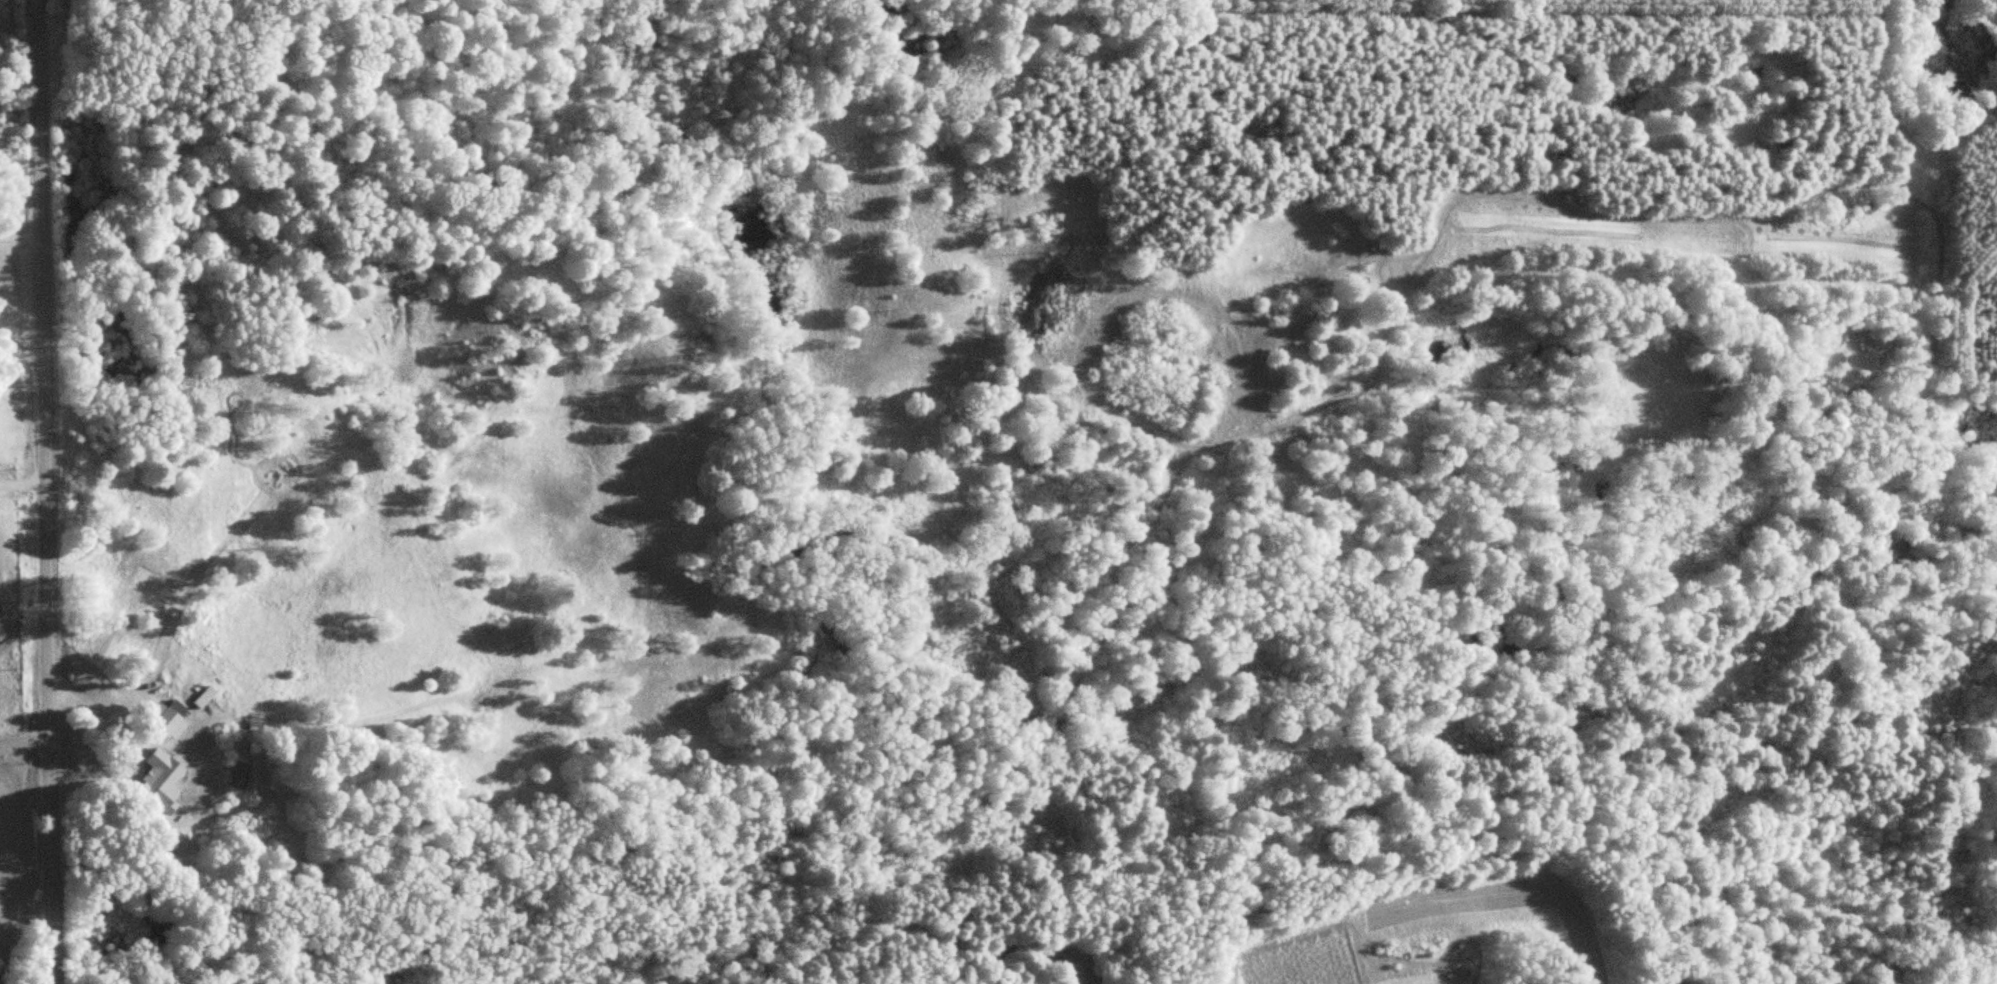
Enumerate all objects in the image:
road: (44, 492)
building: (172, 716)
building: (164, 780)

